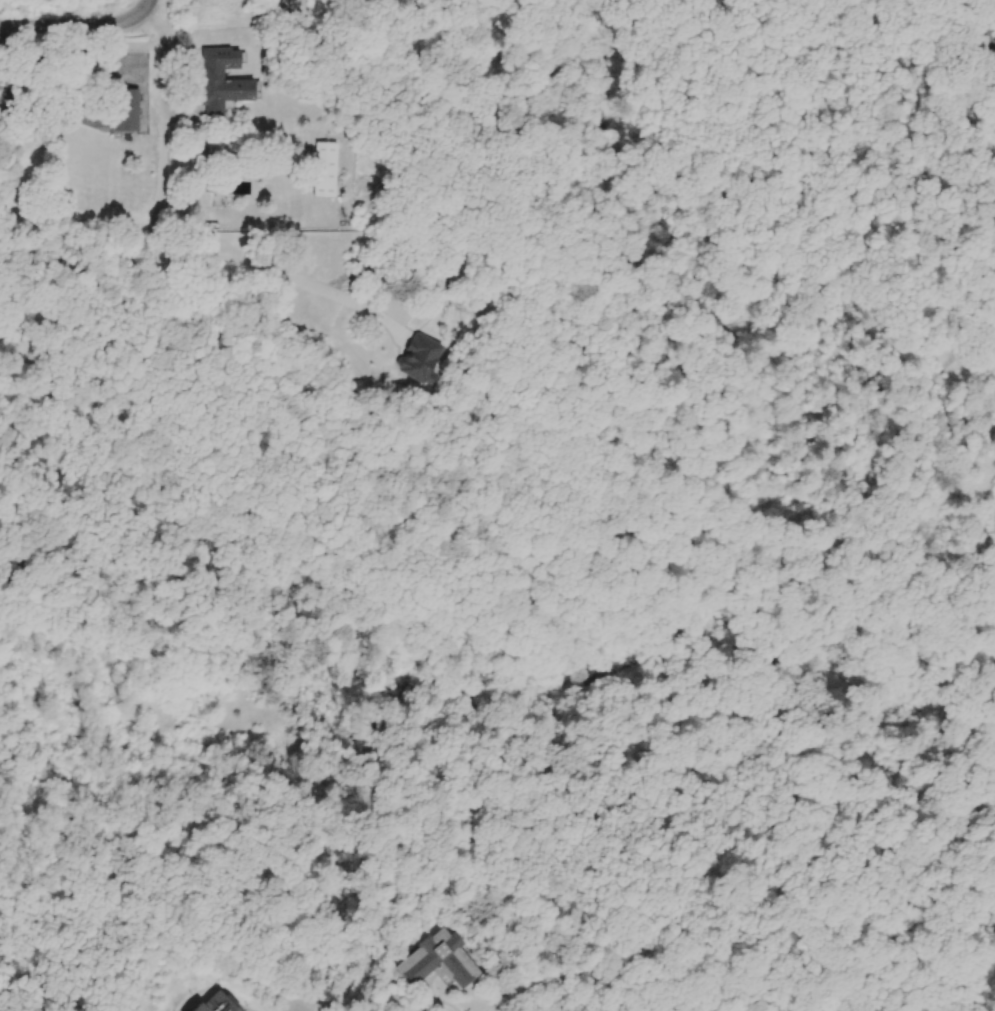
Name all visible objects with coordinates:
road: (78, 25)
building: (988, 38)
building: (38, 71)
road: (82, 77)
building: (222, 82)
building: (125, 111)
building: (326, 170)
road: (169, 242)
building: (441, 961)
building: (218, 1003)

